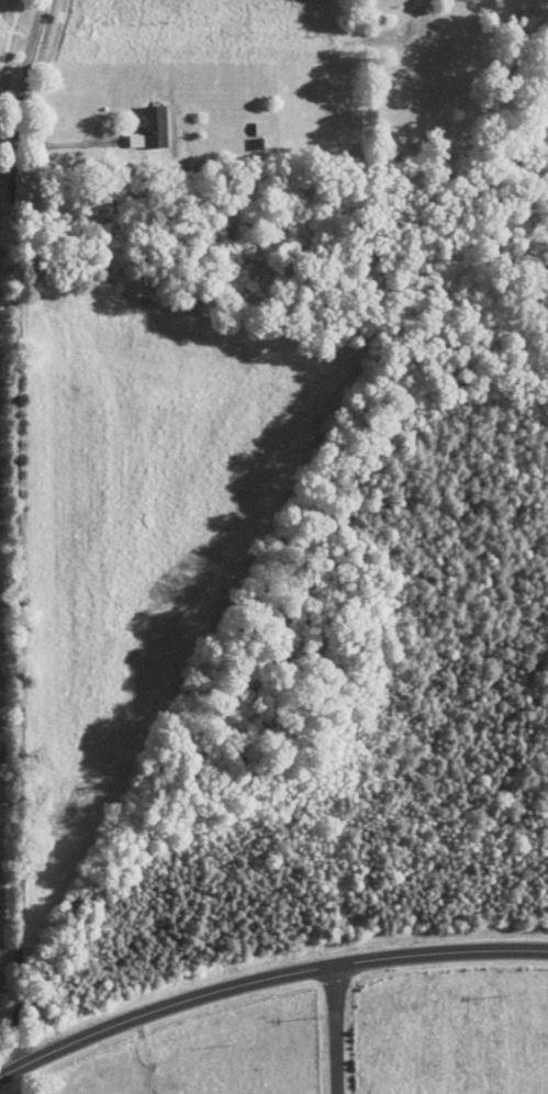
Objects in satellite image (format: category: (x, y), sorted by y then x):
building: (144, 119)
building: (249, 120)
road: (67, 143)
road: (11, 159)
road: (20, 693)
road: (265, 979)
road: (337, 1029)

